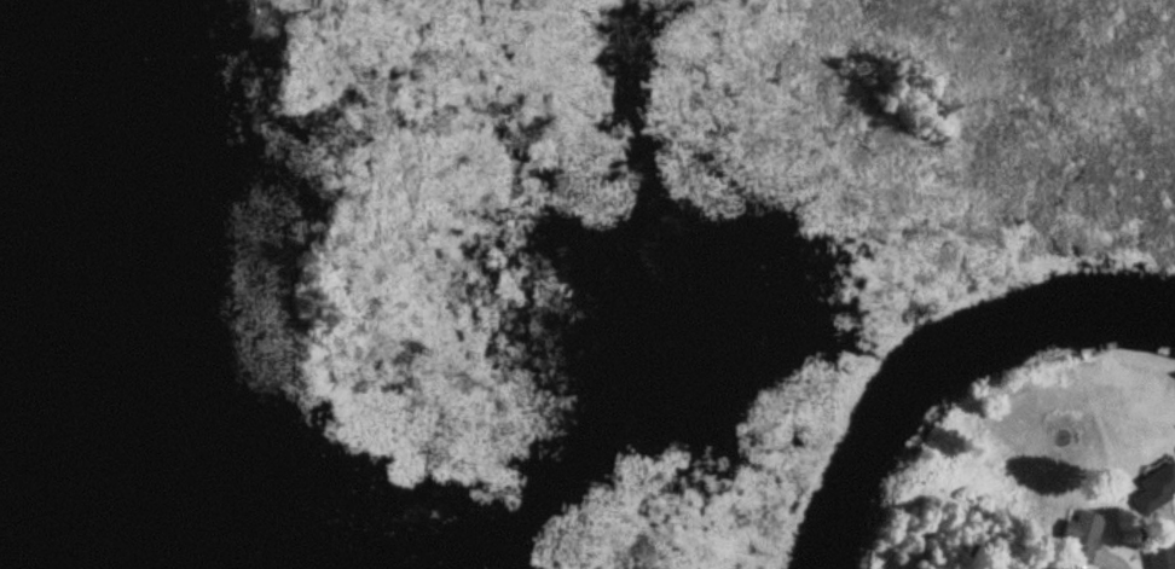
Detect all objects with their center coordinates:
building: (1156, 488)
building: (1084, 534)

